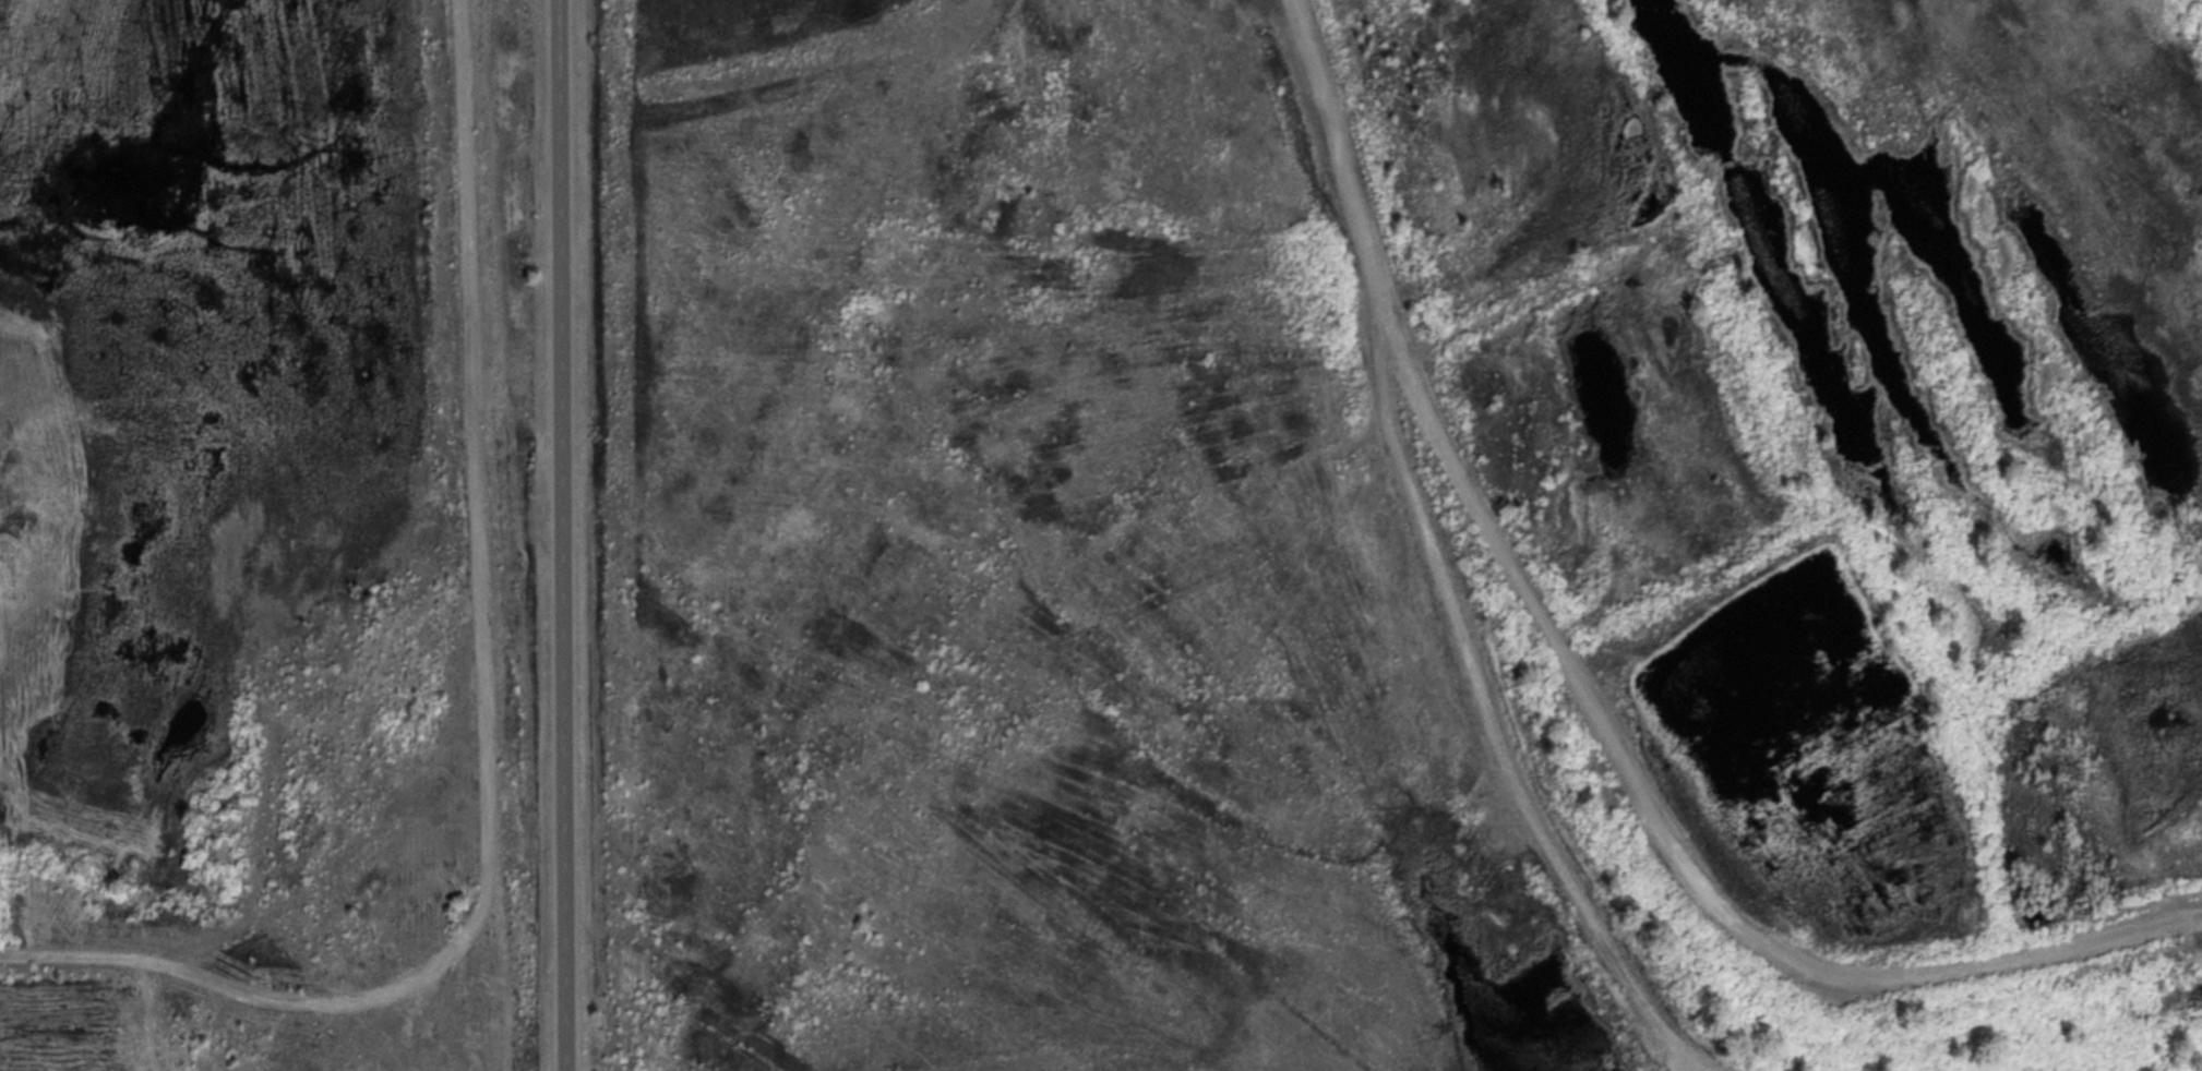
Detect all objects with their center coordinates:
road: (561, 39)
road: (564, 575)
road: (1585, 697)
road: (1486, 720)

